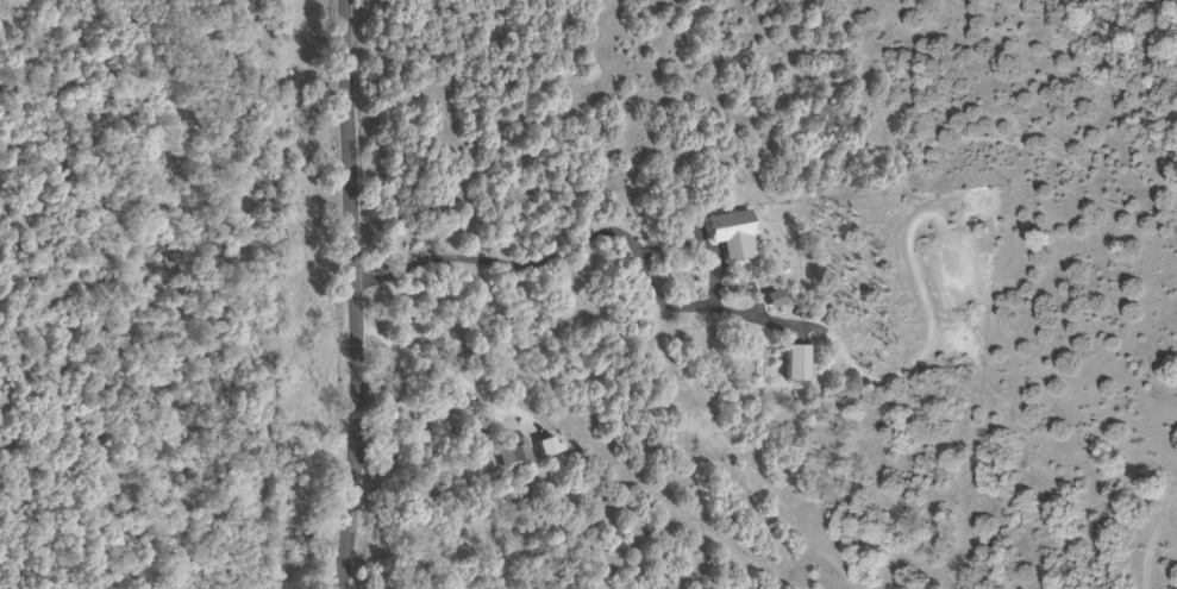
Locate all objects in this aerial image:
building: (731, 234)
road: (356, 294)
road: (710, 307)
road: (418, 358)
building: (793, 362)
building: (546, 445)
building: (512, 452)

